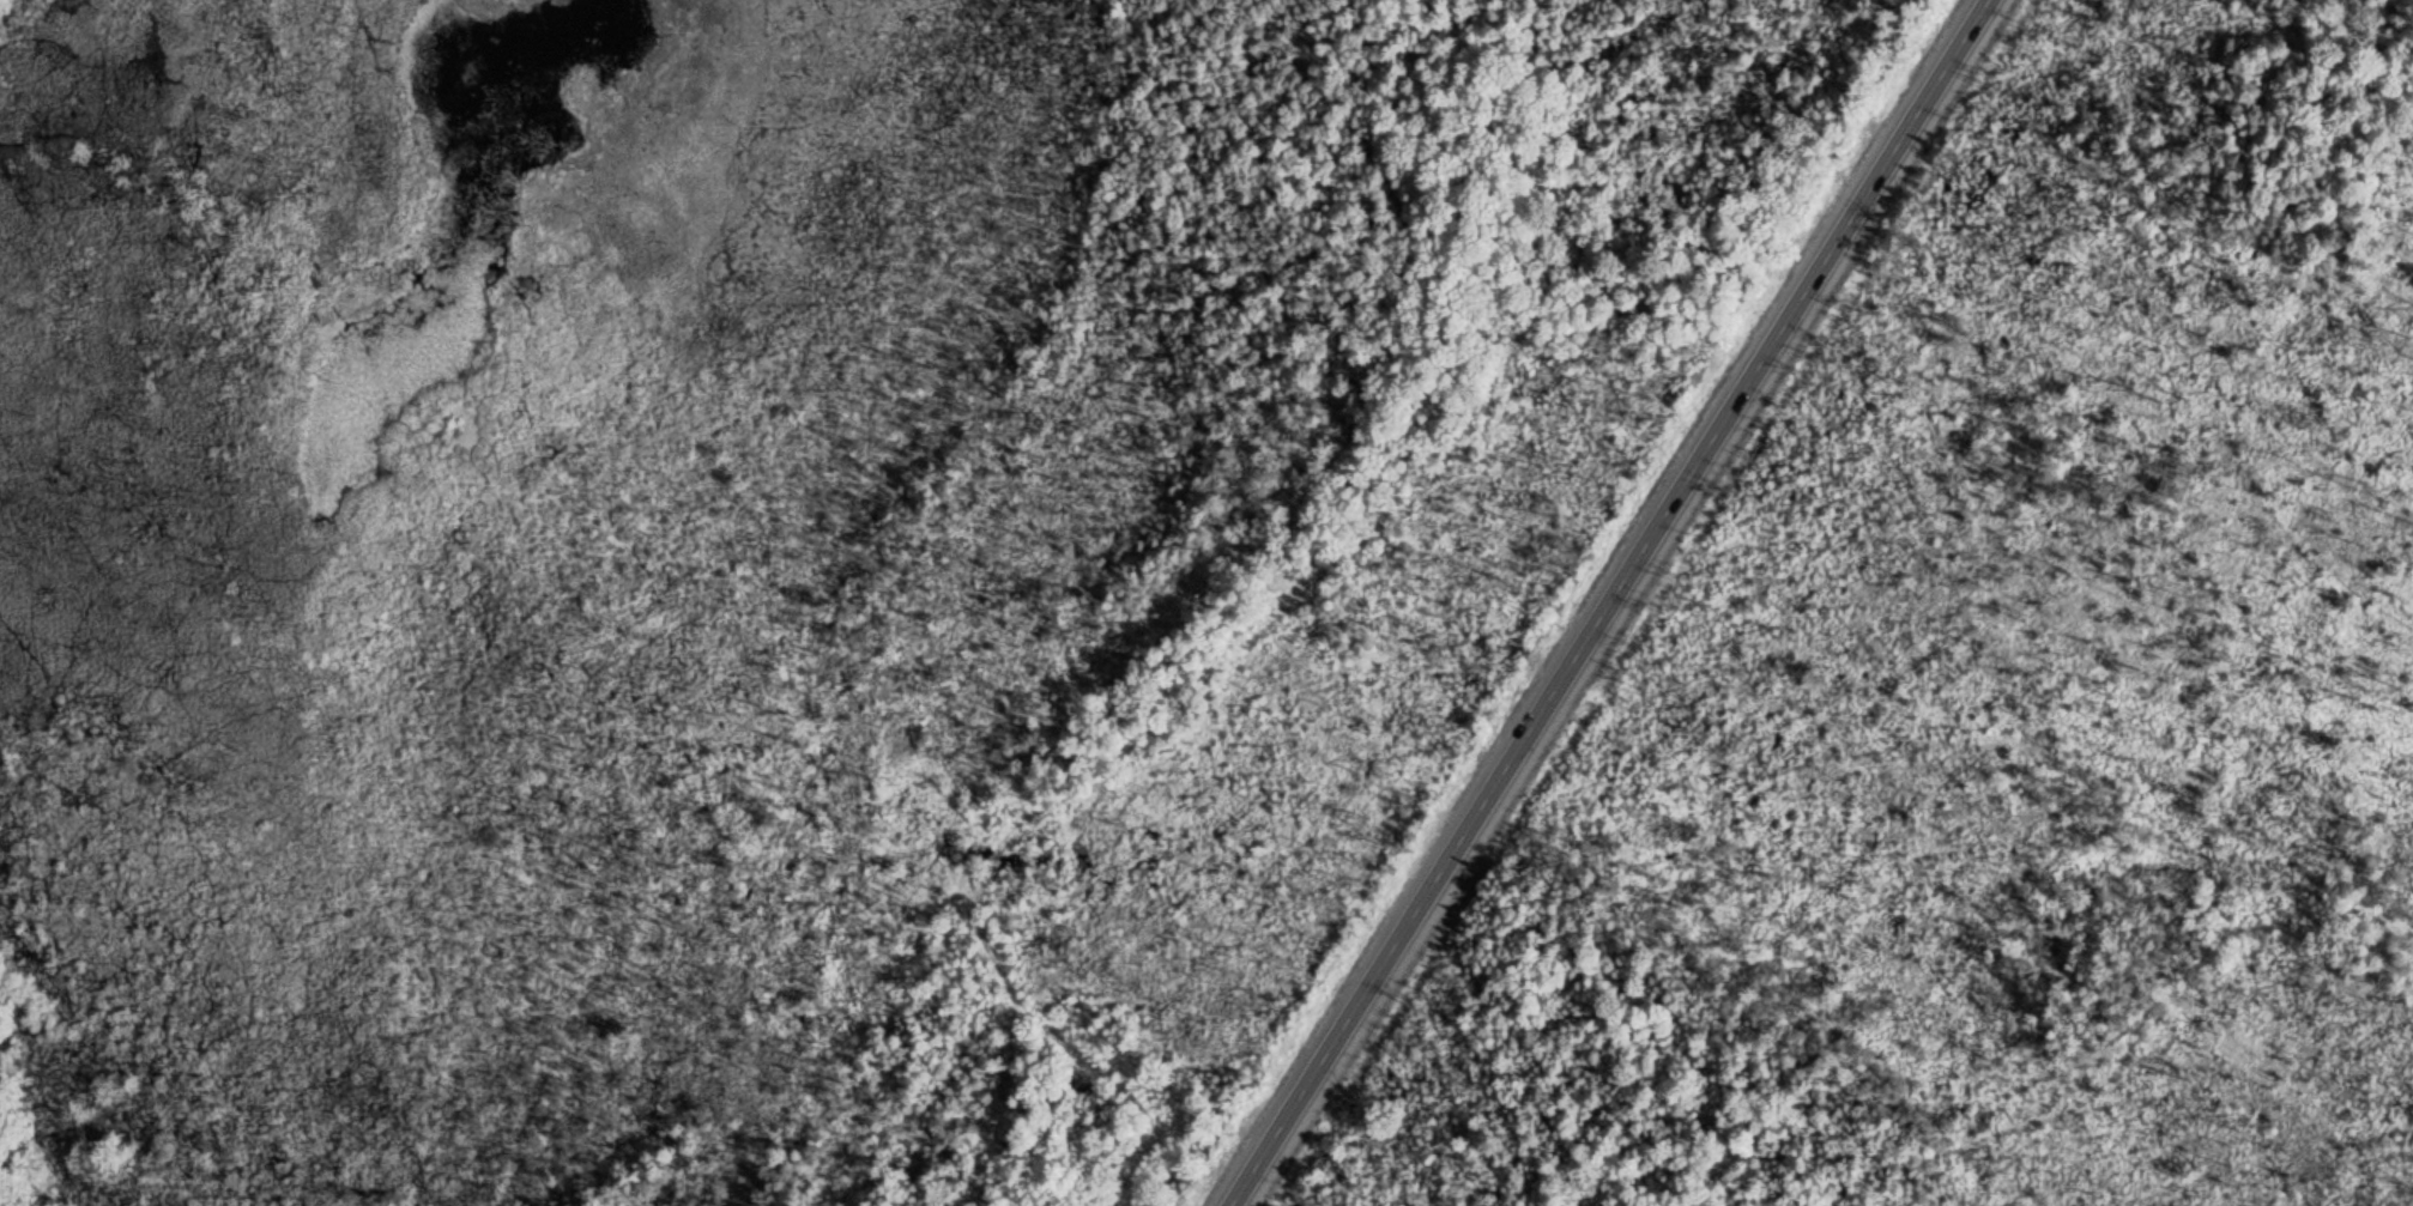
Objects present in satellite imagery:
road: (1619, 604)

